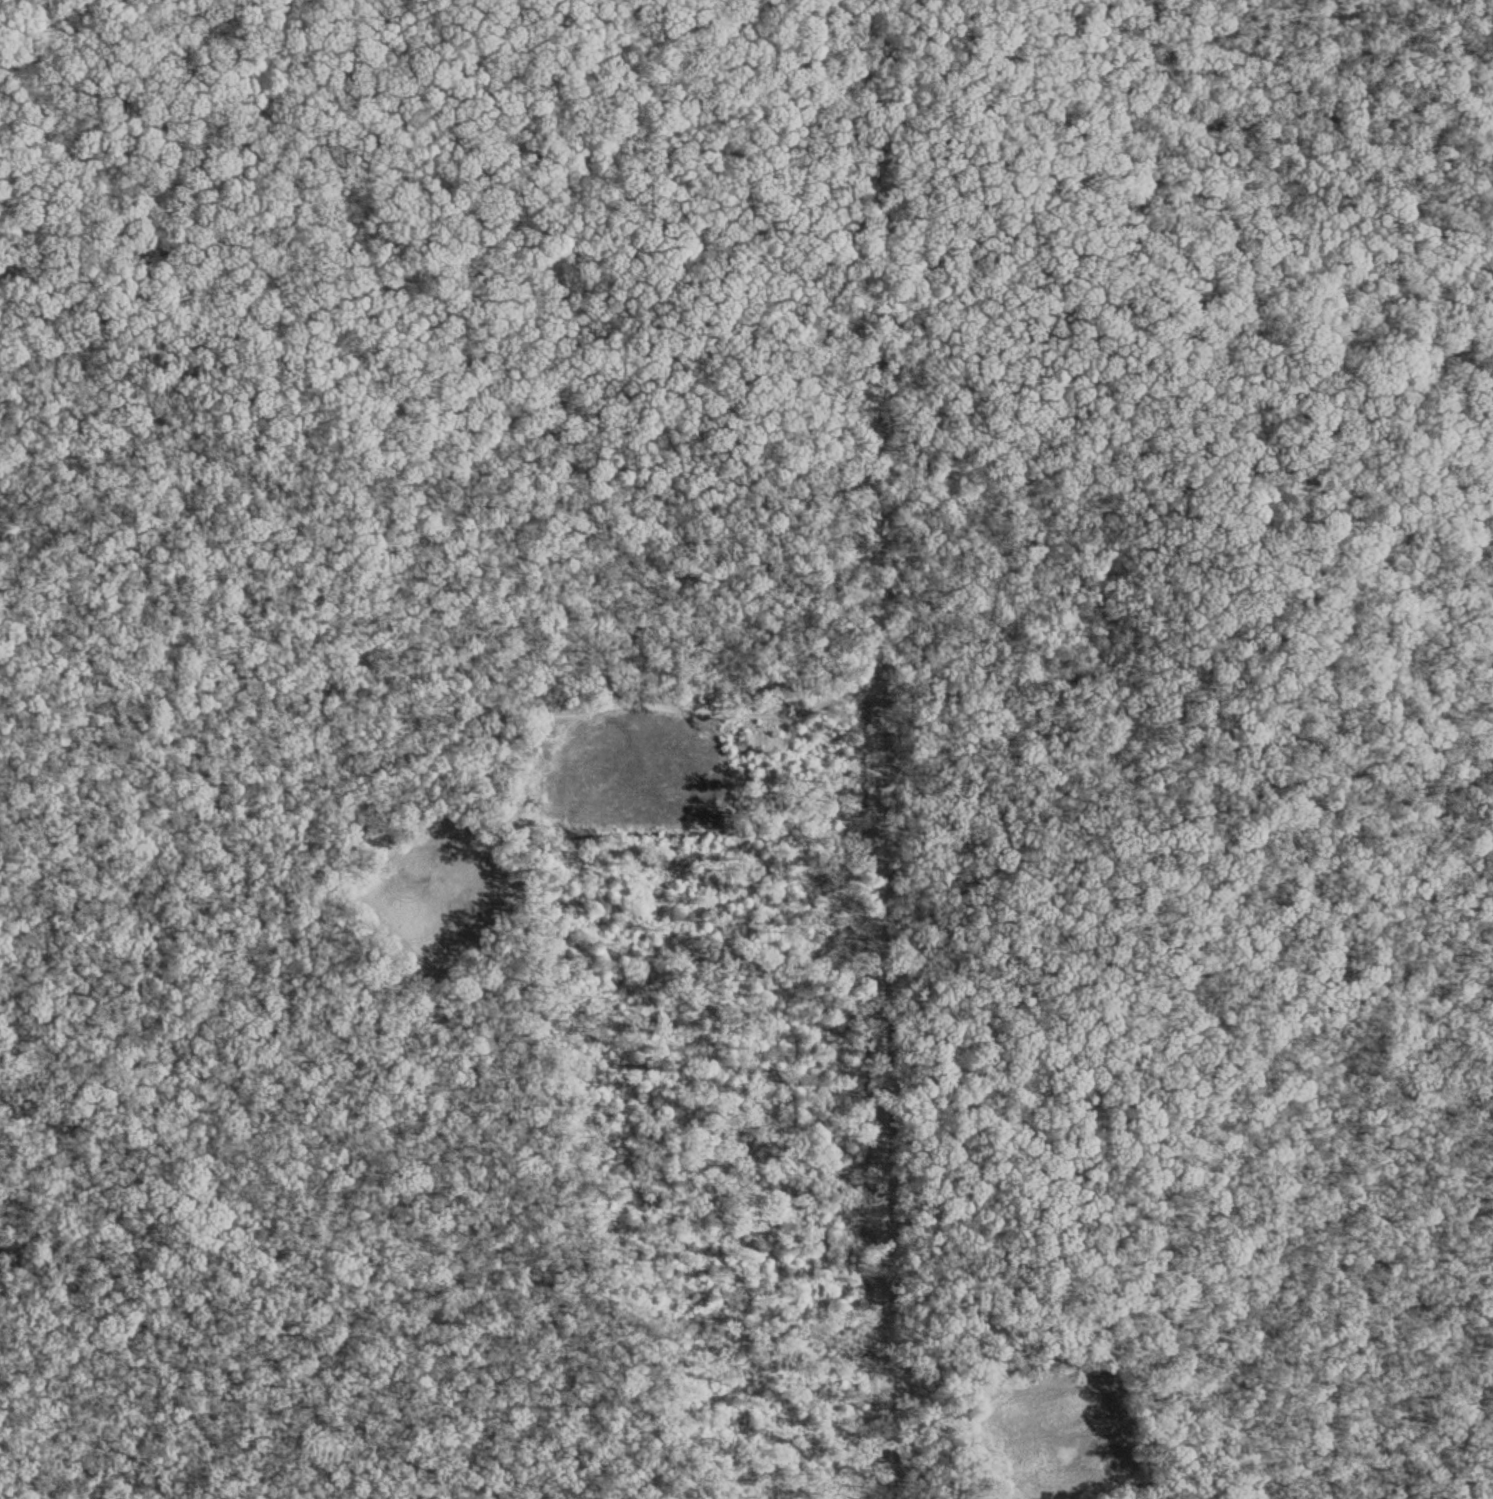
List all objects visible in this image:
road: (429, 740)
road: (866, 749)
petroleum well: (438, 903)

